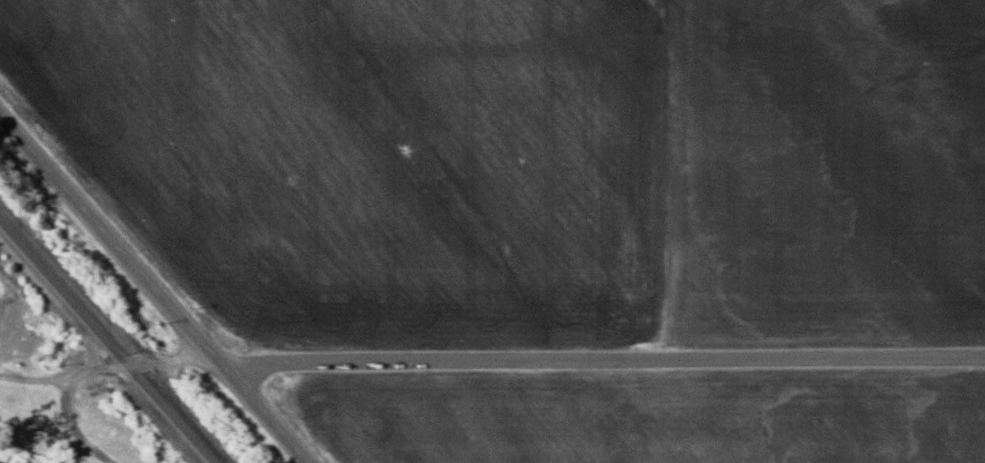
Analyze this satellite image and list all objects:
road: (153, 288)
railway: (107, 342)
road: (604, 364)
road: (92, 373)
road: (38, 380)

